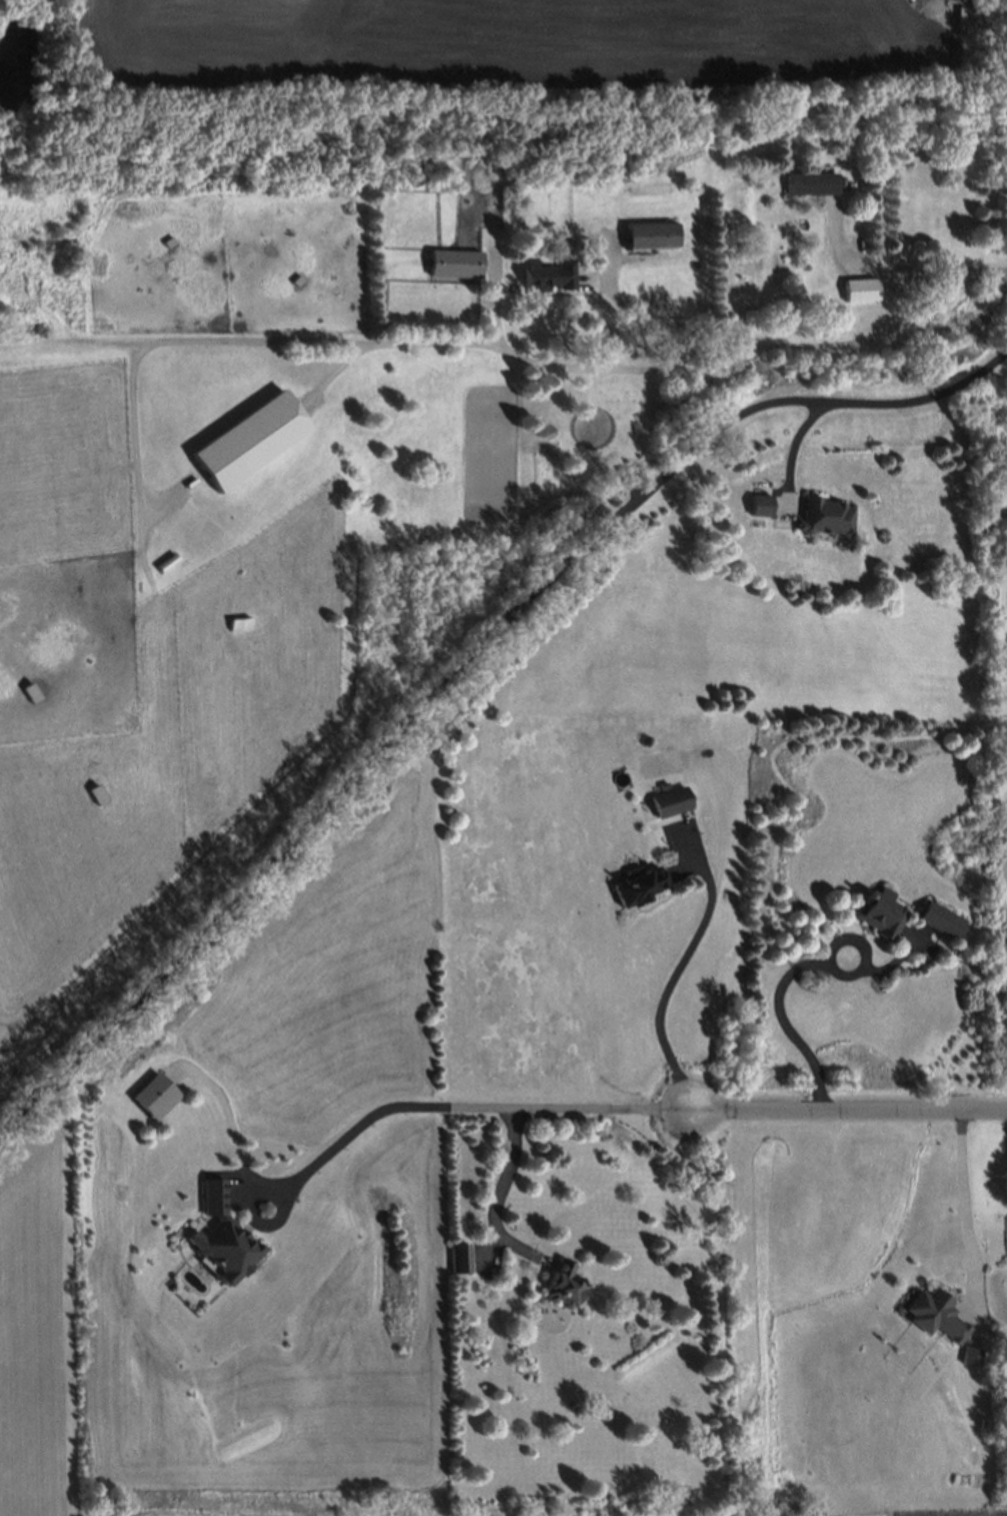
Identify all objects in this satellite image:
park: (37, 66)
building: (806, 181)
building: (166, 242)
building: (648, 242)
road: (896, 267)
building: (454, 273)
road: (980, 276)
building: (296, 281)
building: (550, 283)
building: (857, 289)
building: (787, 301)
road: (636, 326)
road: (173, 341)
road: (644, 366)
building: (248, 441)
road: (797, 446)
building: (759, 500)
building: (824, 511)
building: (238, 620)
road: (462, 658)
building: (29, 689)
building: (94, 791)
building: (669, 799)
building: (656, 834)
building: (638, 883)
building: (866, 909)
building: (922, 917)
building: (941, 919)
road: (793, 972)
road: (667, 982)
building: (153, 1092)
road: (391, 1110)
road: (848, 1111)
road: (498, 1190)
road: (959, 1197)
building: (222, 1231)
building: (458, 1261)
building: (563, 1286)
building: (934, 1317)
building: (972, 1355)

